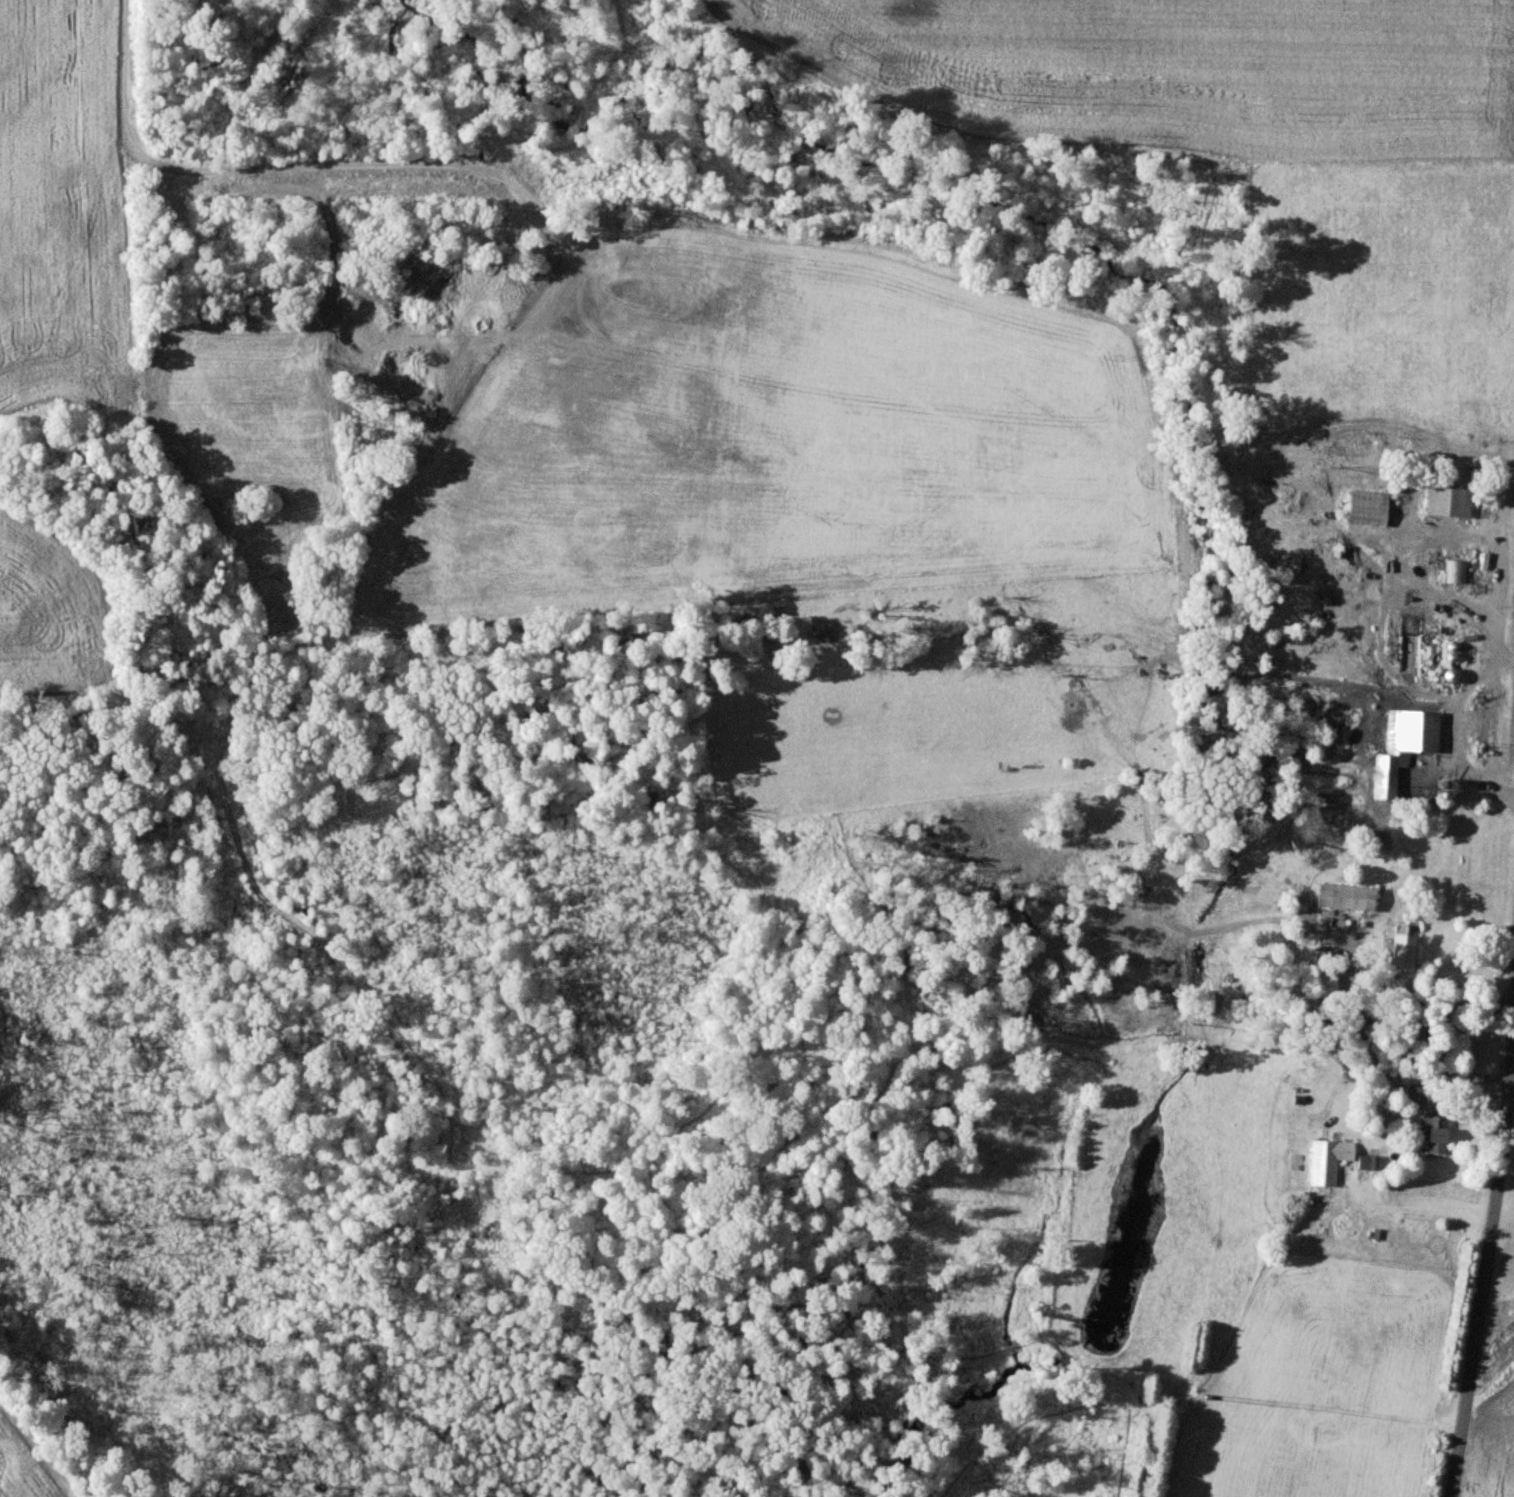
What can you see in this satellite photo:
building: (1447, 502)
building: (1366, 508)
building: (1455, 571)
building: (1403, 748)
building: (1343, 897)
building: (1399, 955)
road: (1513, 1086)
building: (1414, 1095)
building: (1434, 1135)
building: (1328, 1161)
building: (1368, 1162)
road: (1484, 1281)

